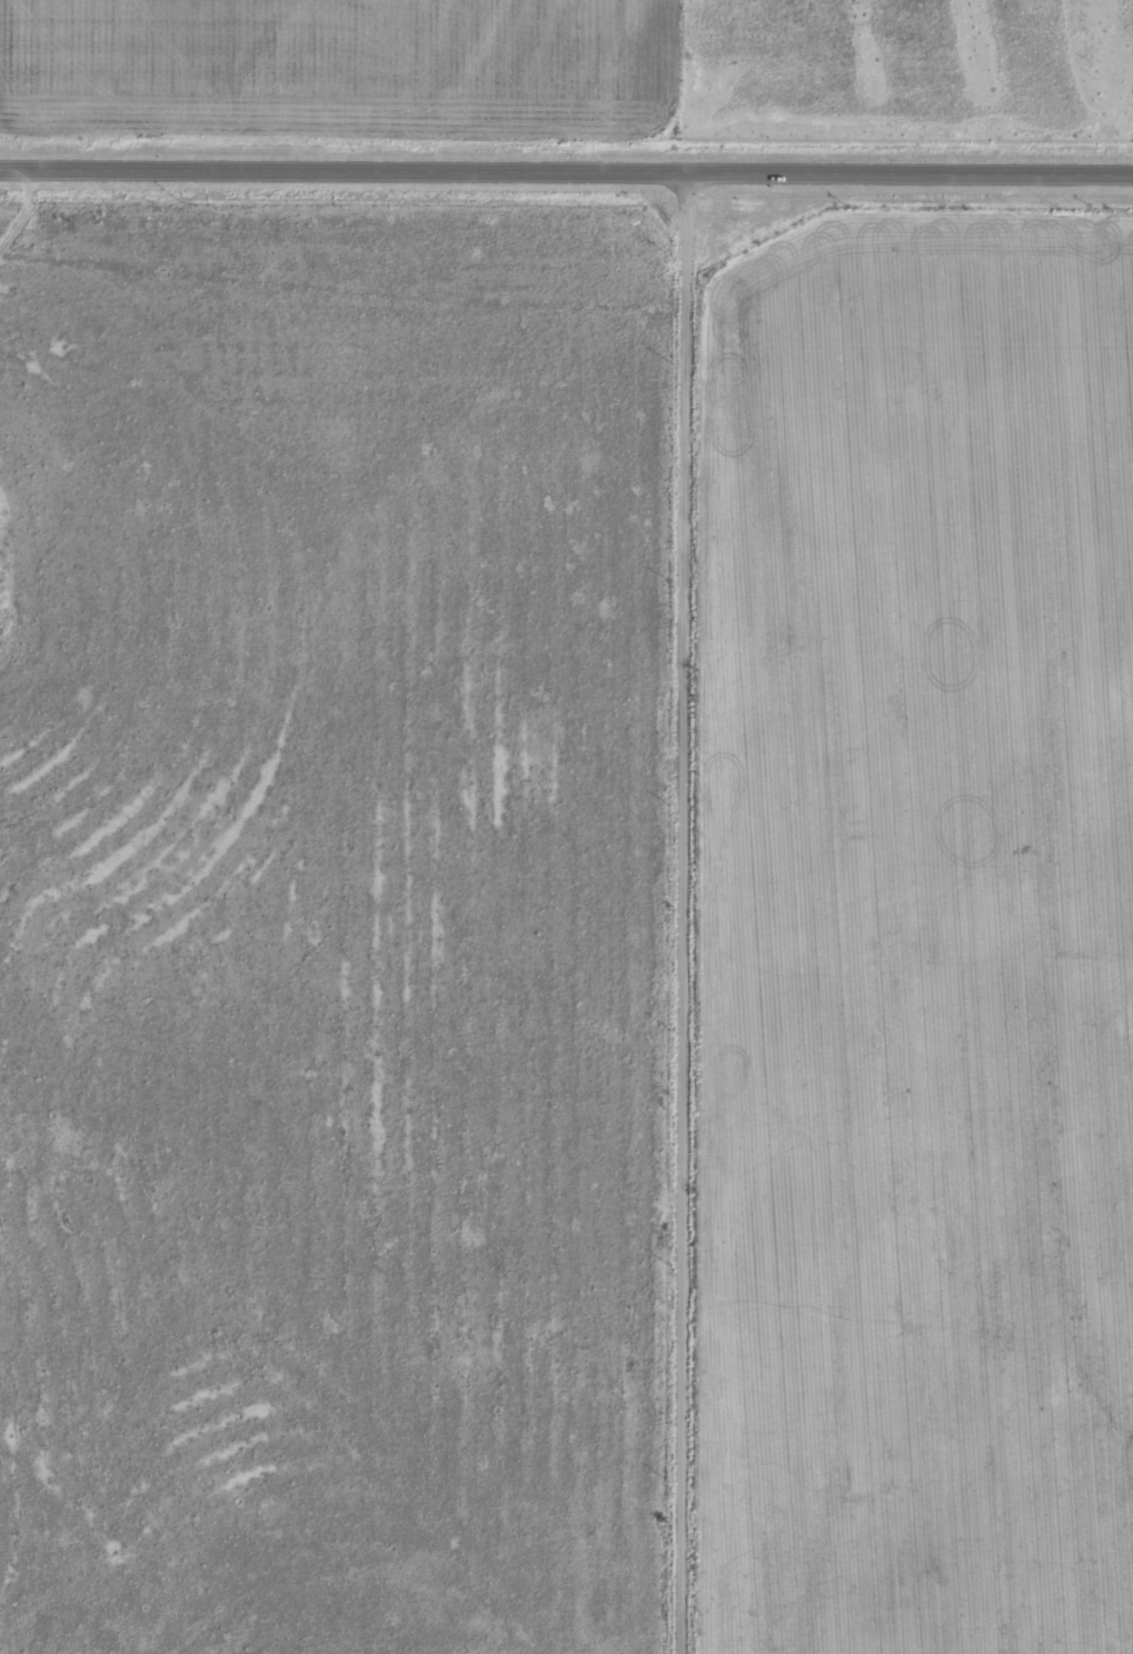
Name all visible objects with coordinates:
road: (1046, 47)
road: (566, 172)
road: (688, 914)

